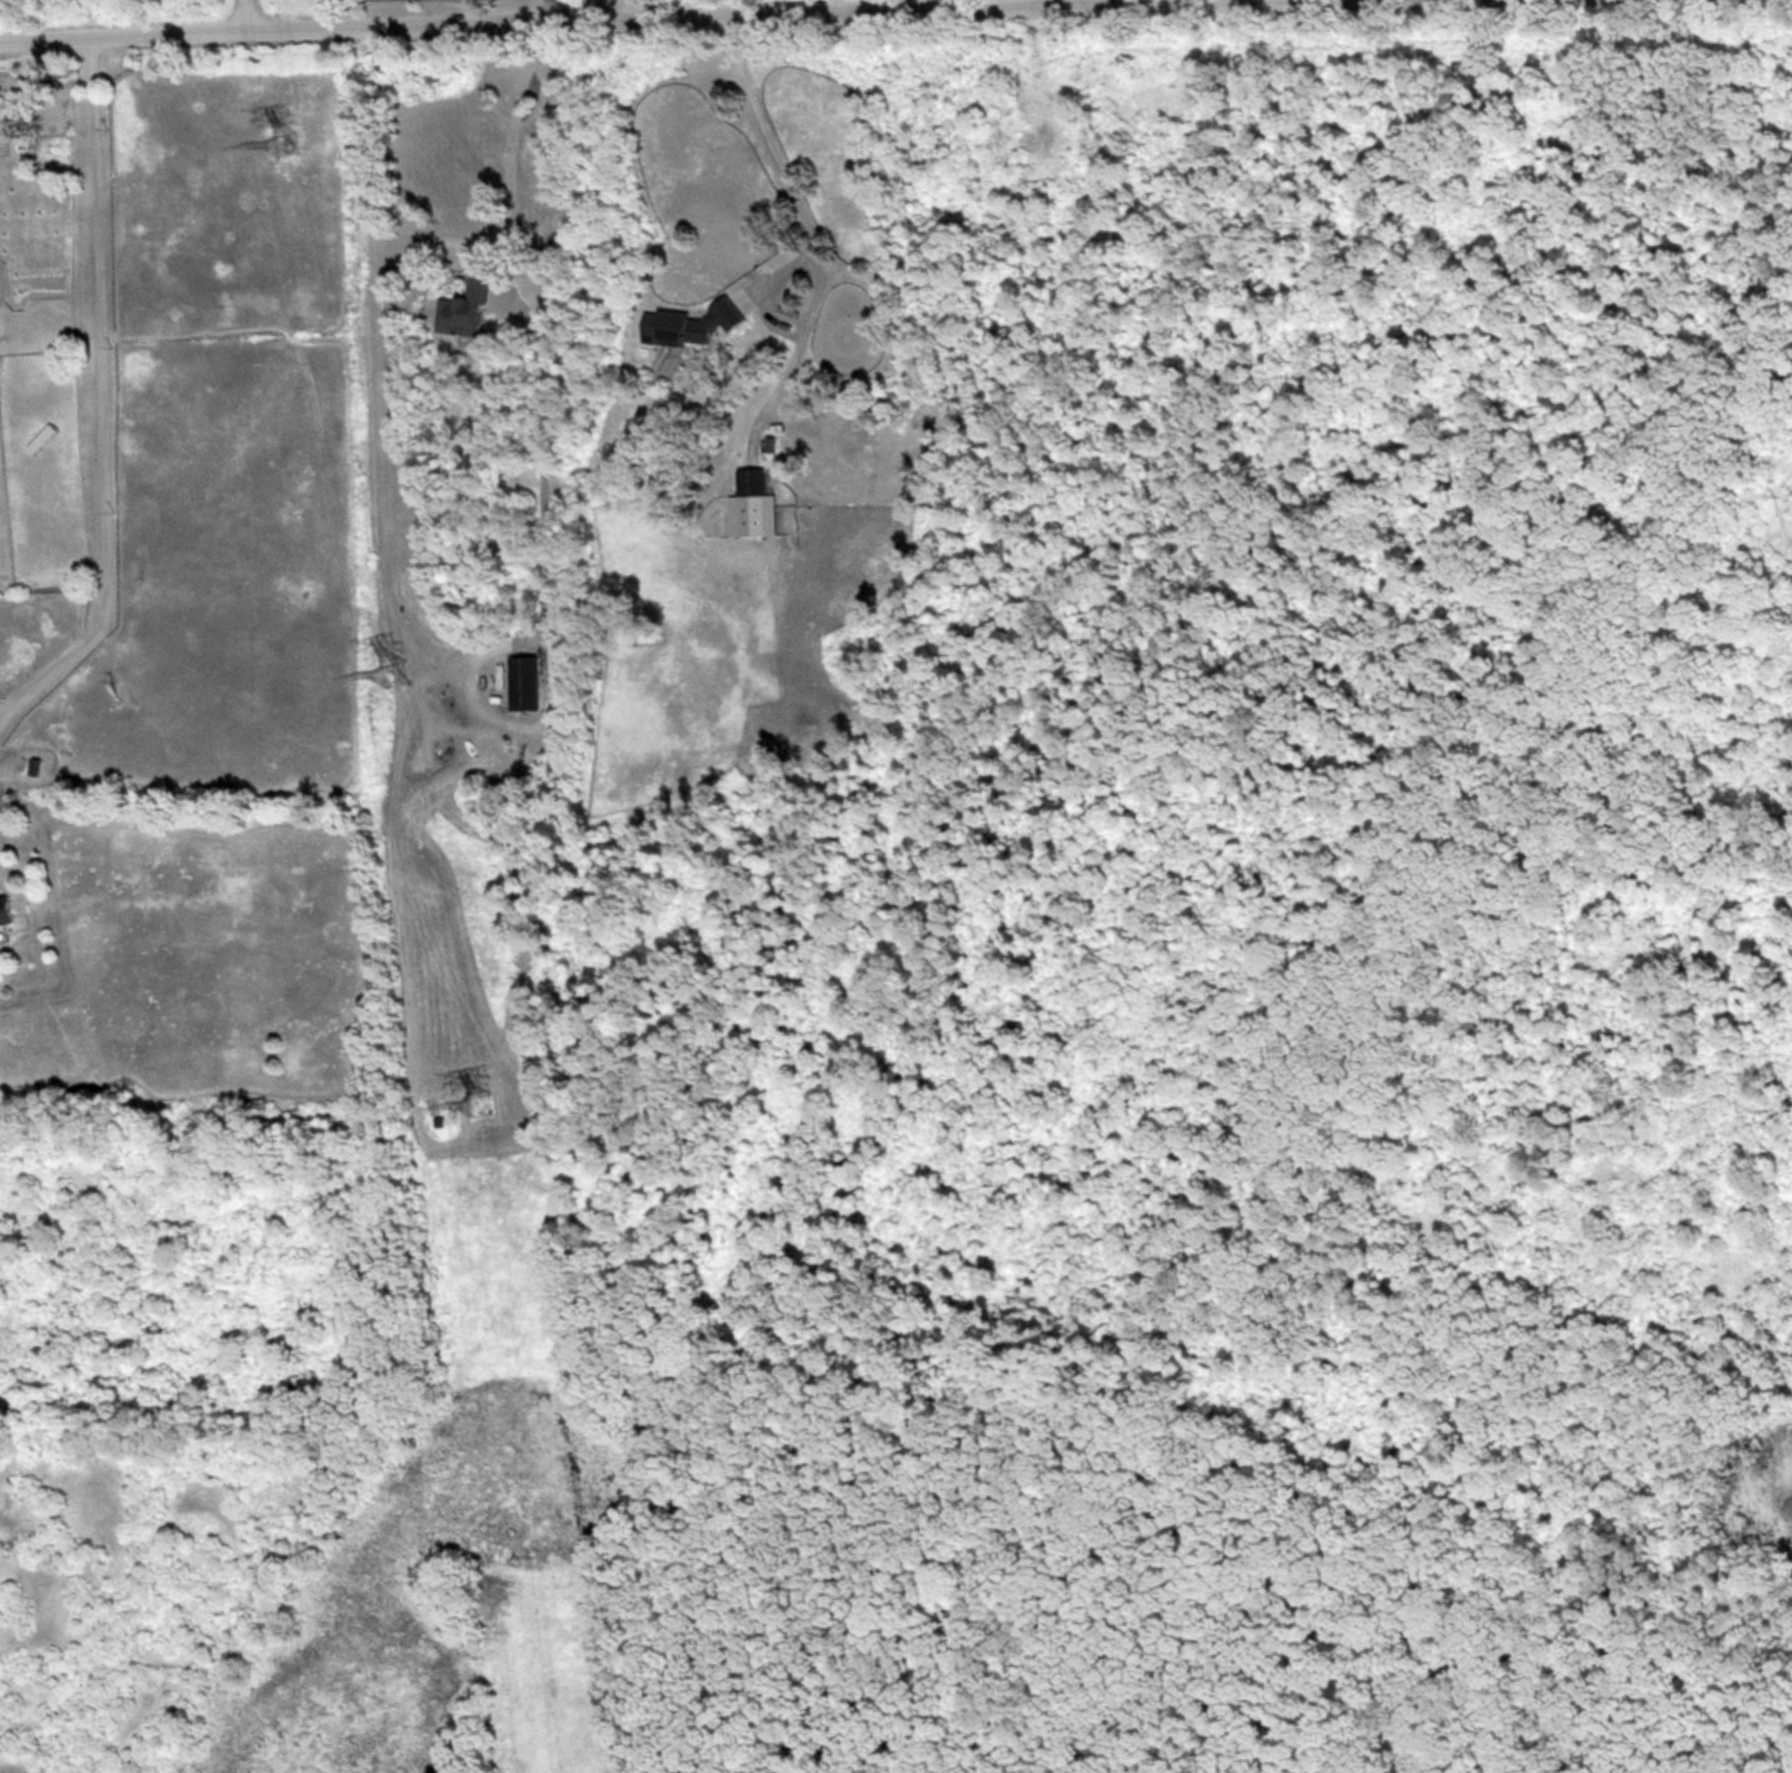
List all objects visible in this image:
road: (914, 1)
park: (82, 2)
road: (832, 4)
road: (621, 6)
road: (587, 7)
road: (243, 12)
road: (519, 16)
power tower: (286, 142)
road: (776, 160)
building: (465, 310)
road: (528, 311)
building: (689, 326)
road: (92, 389)
building: (42, 439)
building: (751, 483)
power tower: (391, 672)
building: (523, 682)
building: (5, 912)
park: (1091, 1037)
power tower: (479, 1102)

